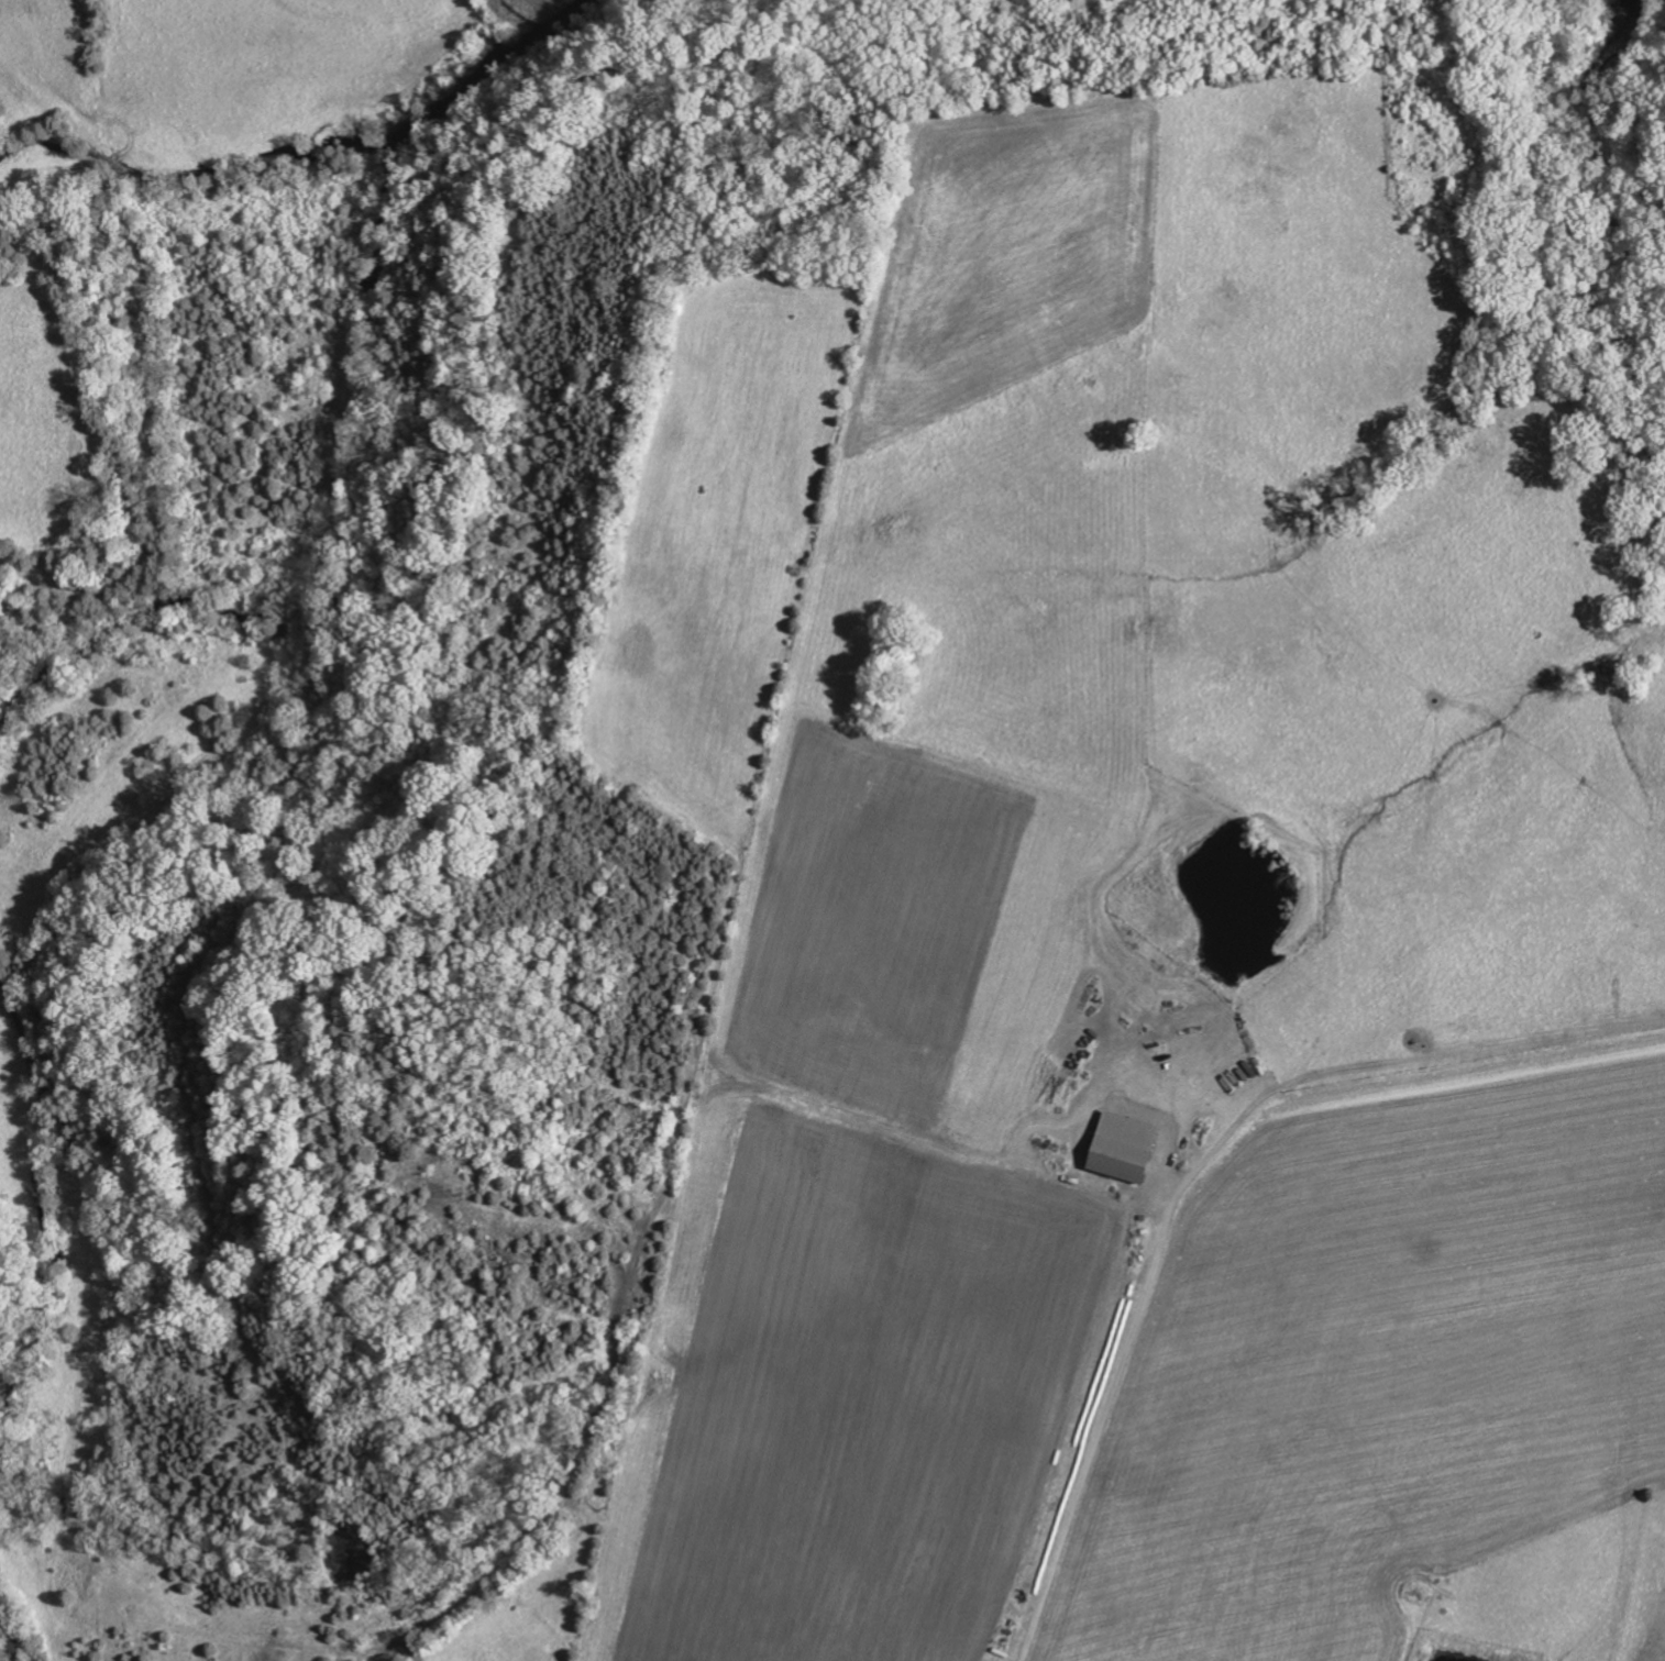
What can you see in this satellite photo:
building: (1128, 1148)

